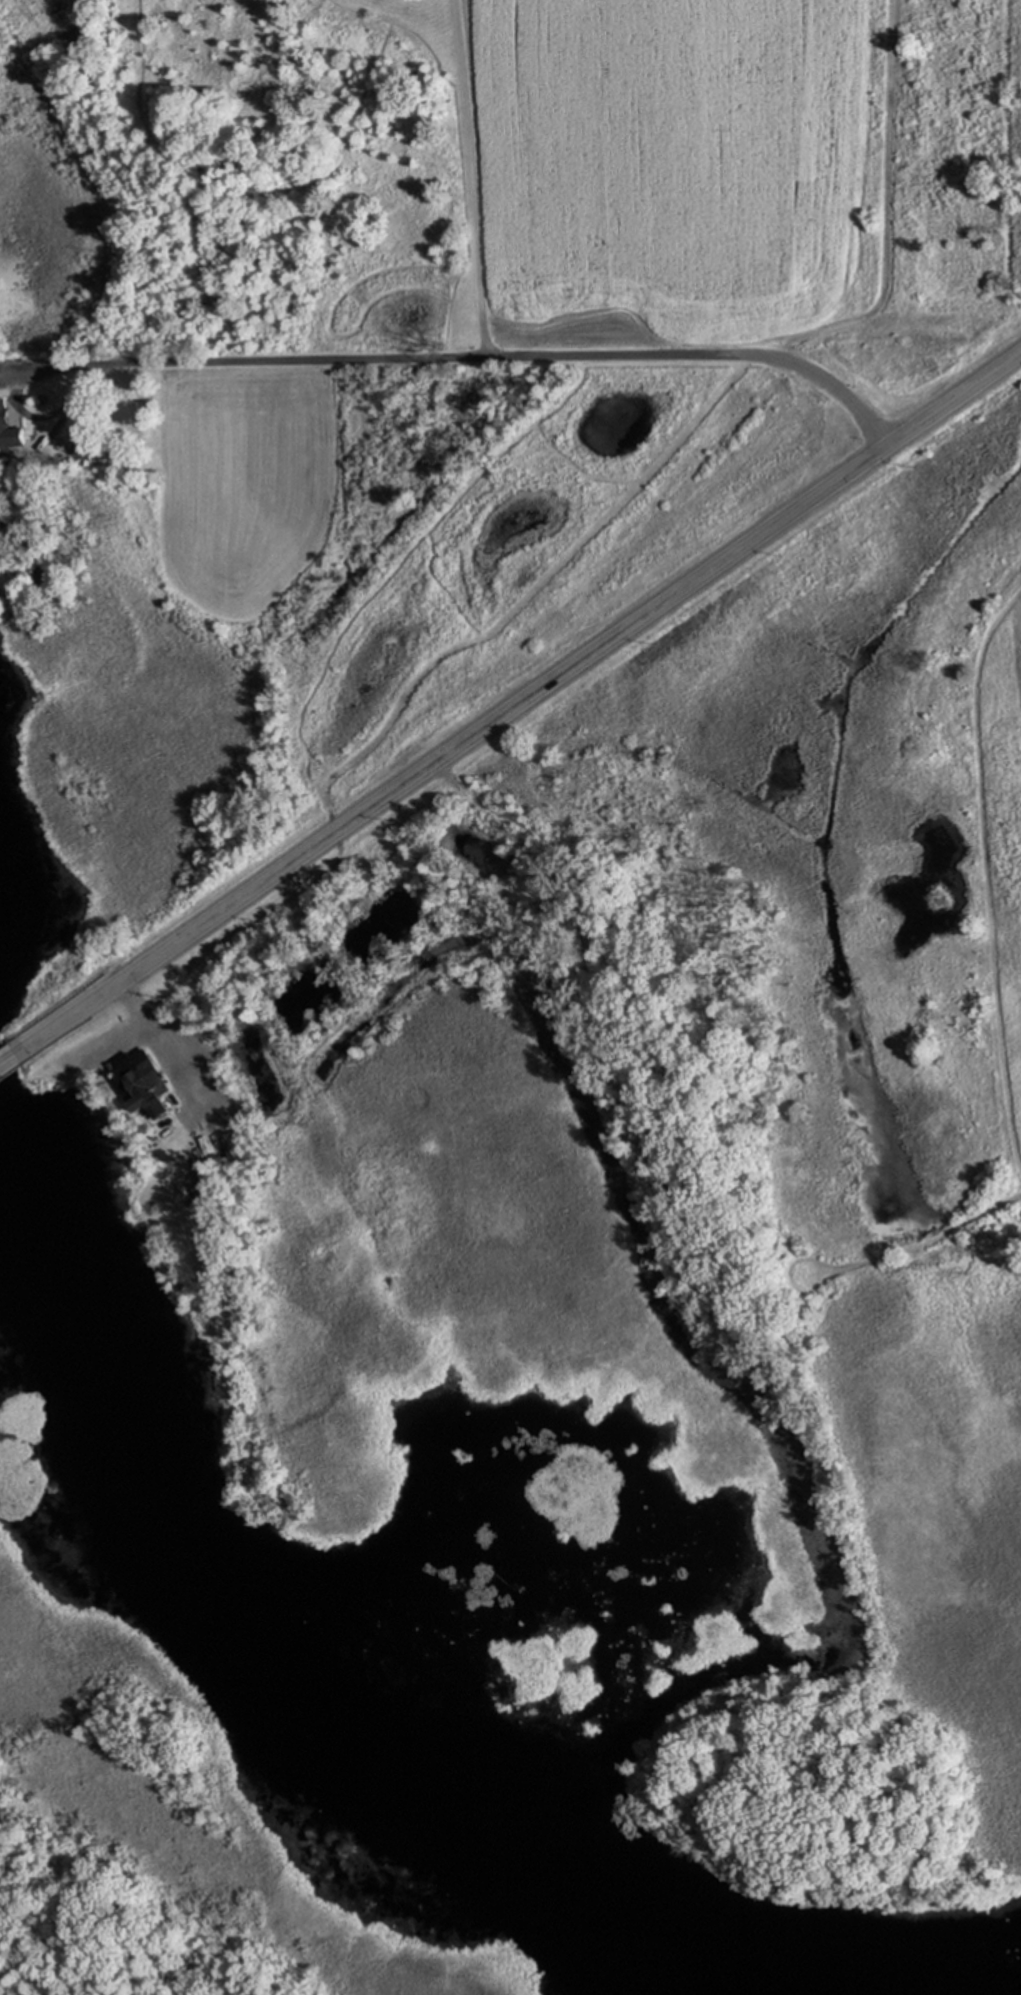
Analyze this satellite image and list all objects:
road: (471, 179)
road: (463, 359)
building: (9, 428)
building: (83, 454)
building: (5, 522)
building: (45, 577)
road: (521, 704)
road: (162, 1041)
road: (12, 1061)
building: (145, 1082)
river: (287, 1636)

